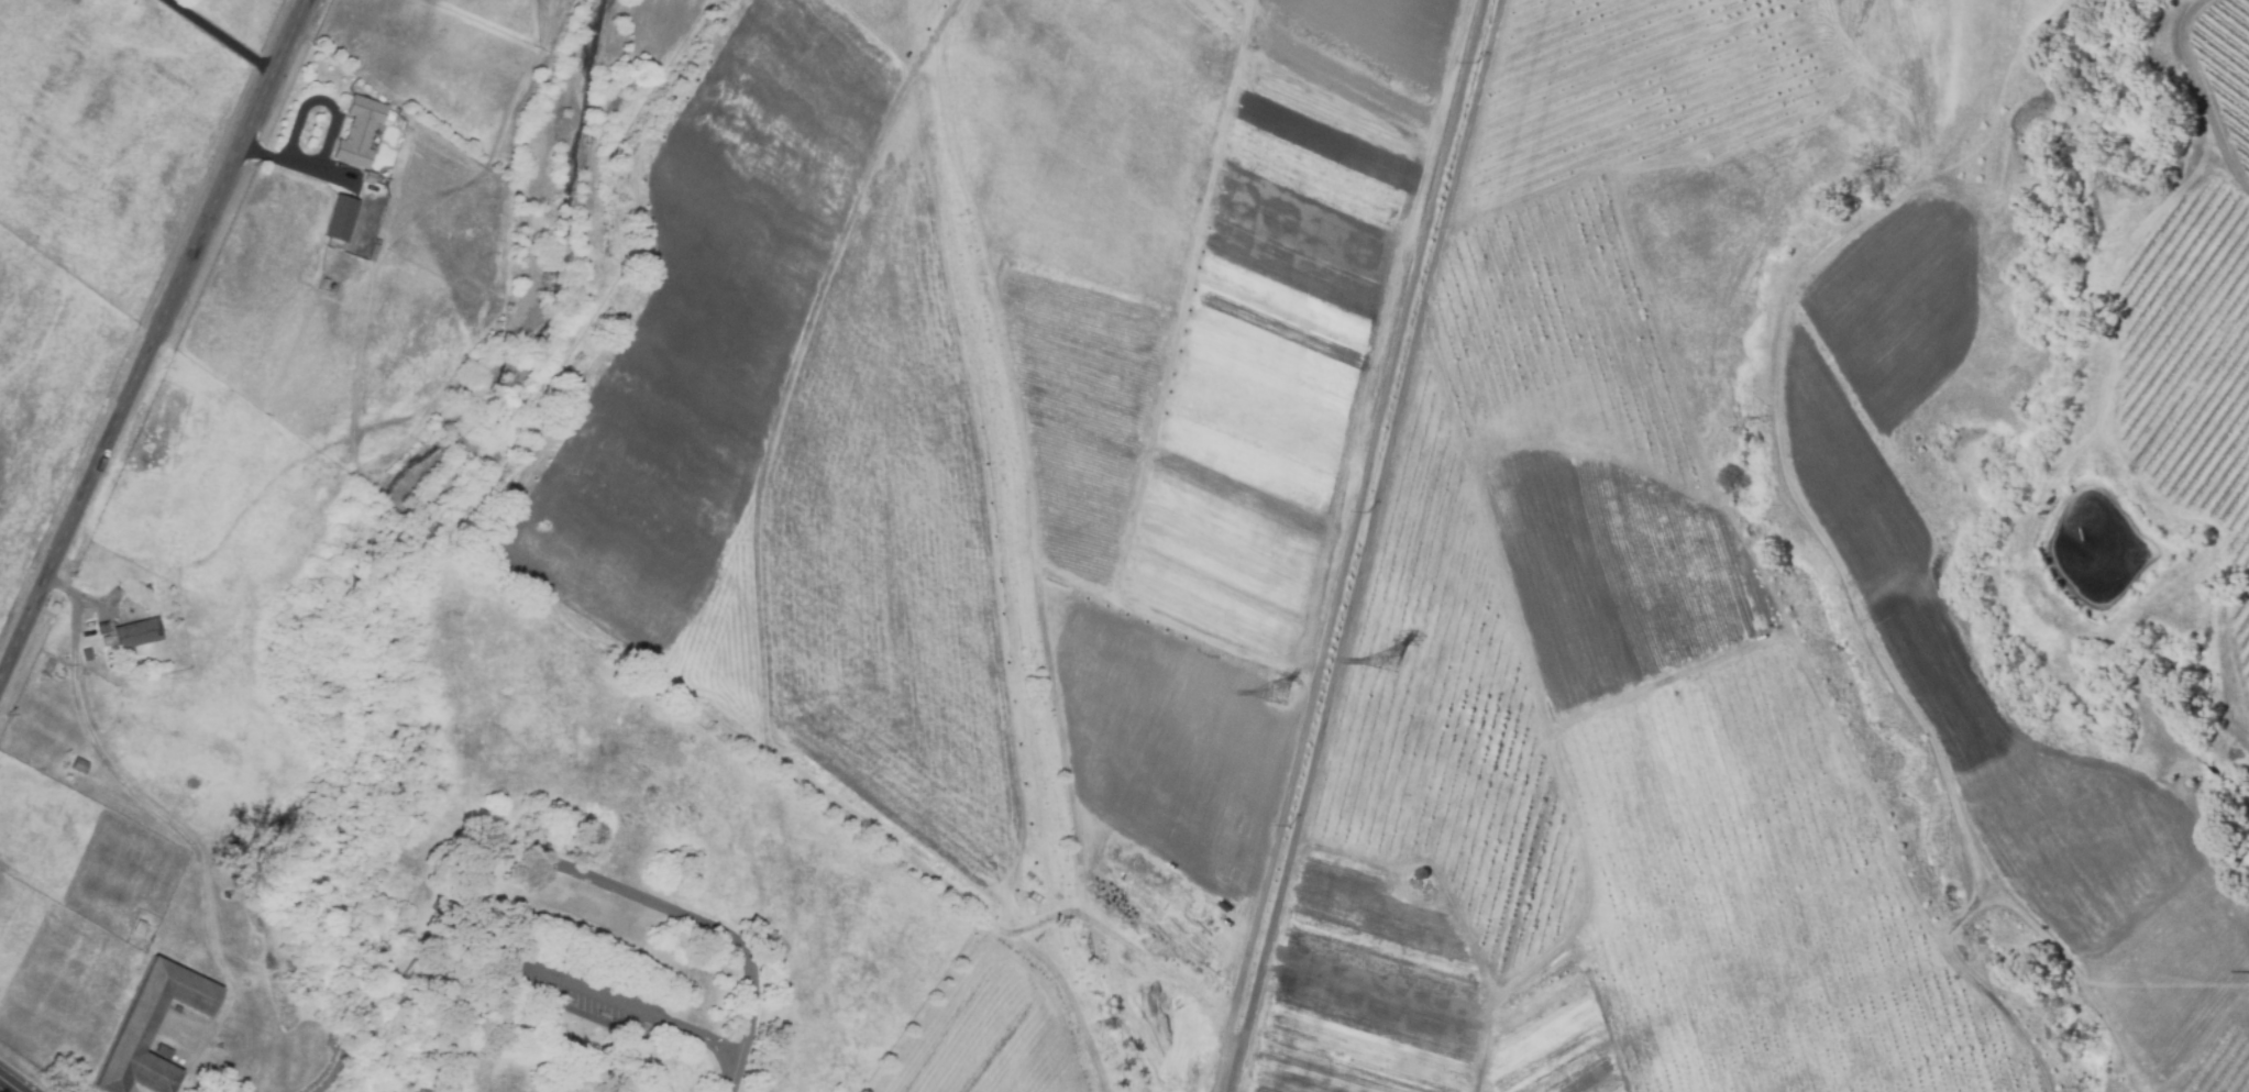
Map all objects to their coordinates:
road: (224, 35)
building: (360, 132)
road: (333, 136)
building: (371, 177)
building: (341, 219)
building: (324, 284)
road: (152, 345)
road: (76, 614)
building: (103, 628)
building: (137, 633)
building: (87, 654)
building: (131, 660)
power tower: (1388, 663)
power tower: (1276, 693)
building: (78, 765)
park: (407, 825)
road: (191, 840)
road: (500, 852)
building: (140, 927)
road: (393, 1012)
building: (146, 1028)
road: (730, 1077)
road: (10, 1084)
road: (129, 1085)

